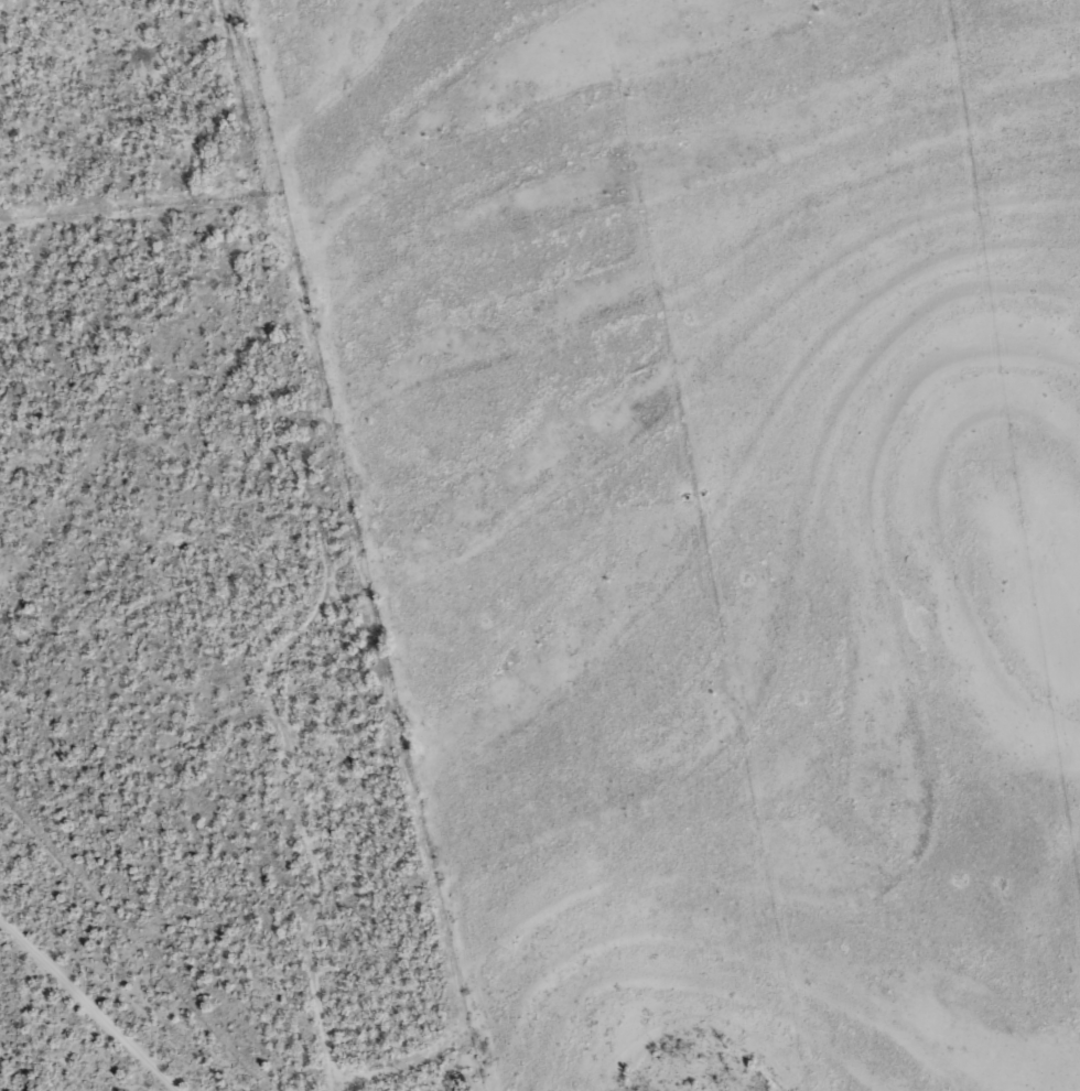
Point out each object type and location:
road: (87, 1011)

